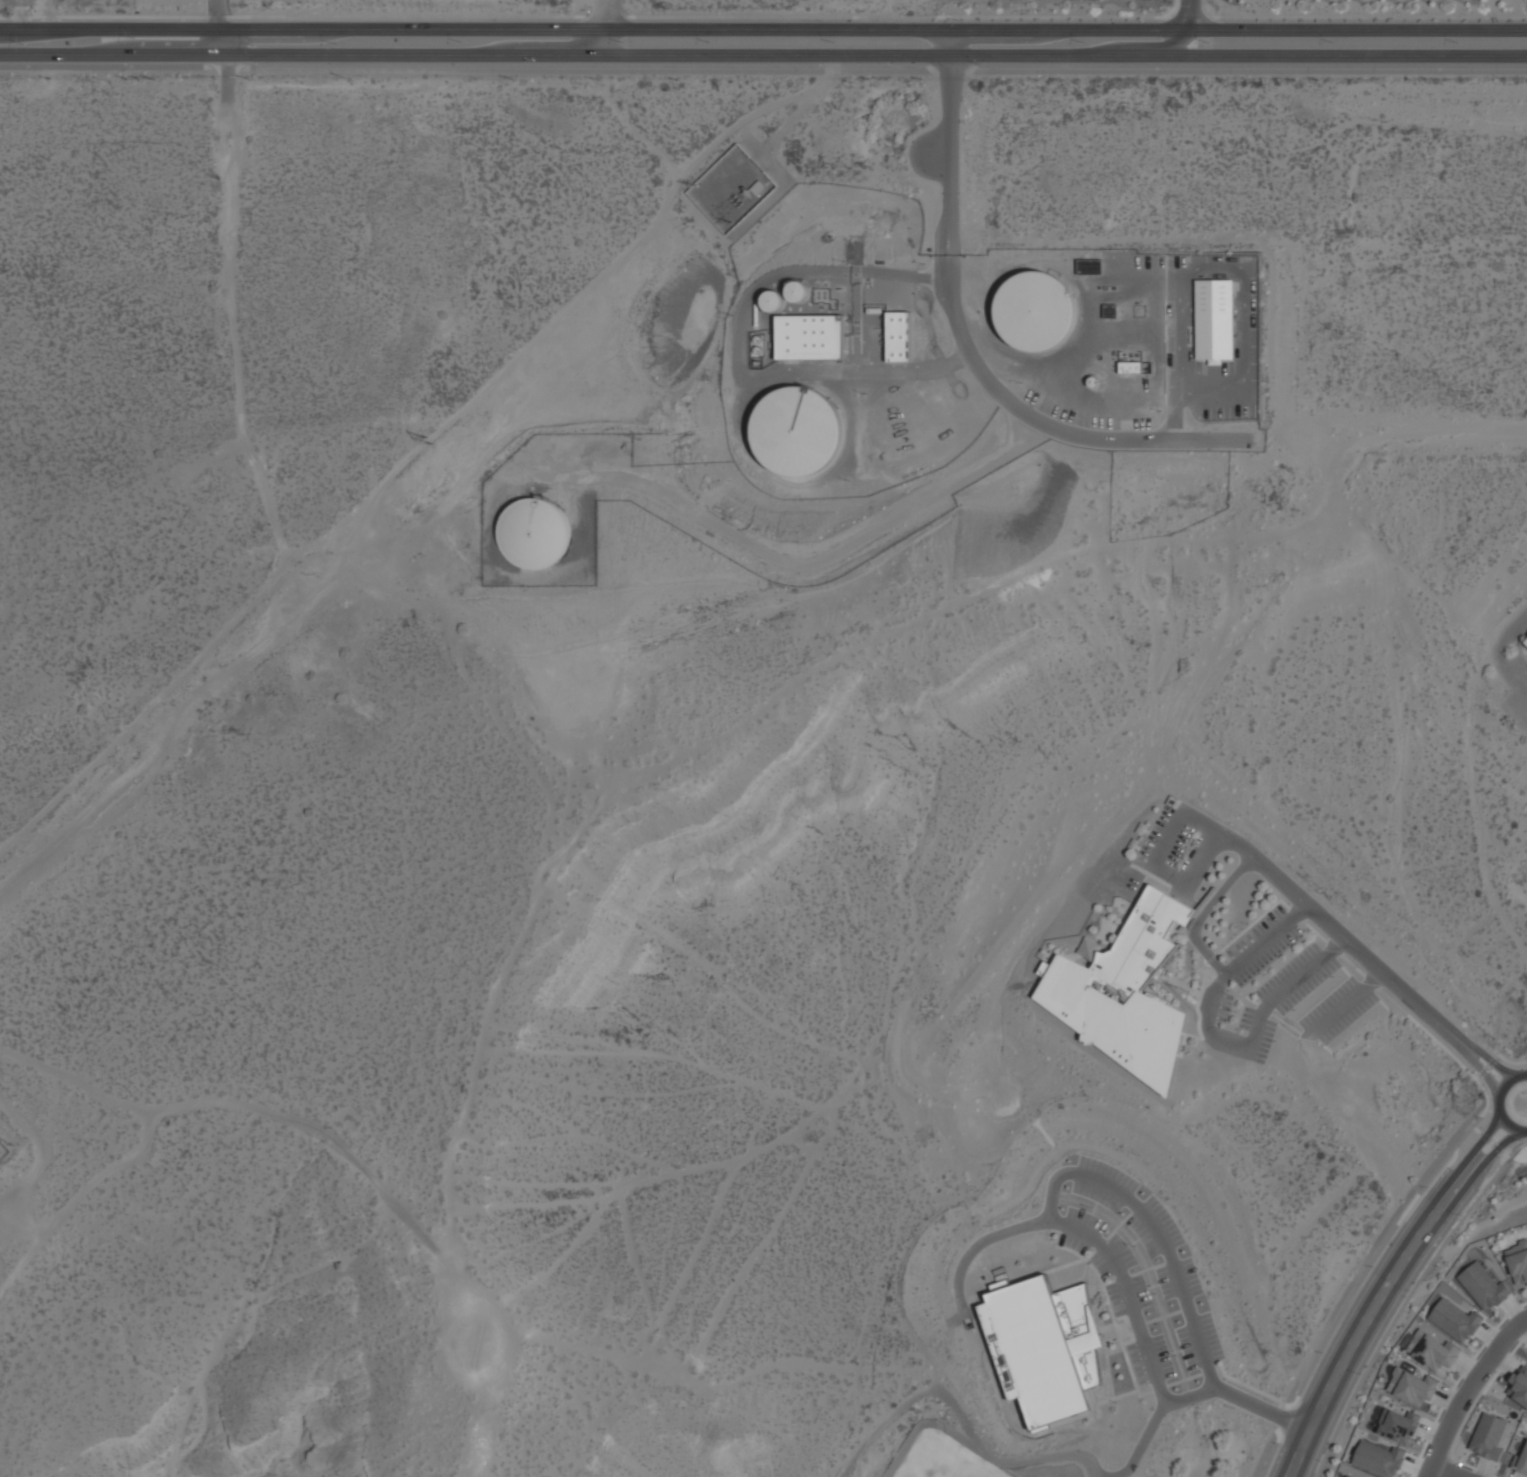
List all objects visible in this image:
road: (607, 15)
road: (1186, 15)
road: (763, 17)
road: (217, 28)
road: (763, 31)
road: (1177, 43)
road: (763, 55)
road: (889, 68)
road: (922, 154)
power tower: (697, 184)
power substation: (733, 189)
power tower: (723, 213)
road: (857, 271)
road: (904, 278)
building: (773, 301)
building: (1028, 318)
building: (1214, 319)
building: (809, 334)
building: (898, 336)
road: (968, 354)
road: (1179, 359)
building: (1130, 367)
building: (798, 431)
power tower: (428, 440)
building: (536, 532)
building: (1525, 641)
building: (1525, 648)
road: (1270, 872)
road: (1204, 915)
building: (1122, 990)
road: (1350, 1002)
road: (1217, 1038)
road: (1526, 1058)
road: (1491, 1060)
road: (1508, 1062)
road: (1484, 1065)
road: (1482, 1074)
road: (1494, 1103)
road: (5, 1125)
road: (1489, 1141)
road: (1471, 1148)
road: (1485, 1156)
road: (1508, 1157)
road: (1447, 1162)
road: (1477, 1182)
road: (1153, 1233)
road: (1083, 1234)
building: (1518, 1261)
road: (1360, 1268)
parking lot: (1140, 1274)
building: (1482, 1286)
building: (1454, 1320)
road: (1351, 1324)
road: (1377, 1330)
building: (1044, 1348)
building: (1432, 1350)
building: (1411, 1386)
building: (1519, 1386)
road: (1469, 1392)
road: (1192, 1397)
building: (1399, 1426)
building: (1487, 1436)
building: (1377, 1459)
park: (942, 1461)
building: (1523, 1462)
road: (1449, 1471)
building: (1348, 1476)

